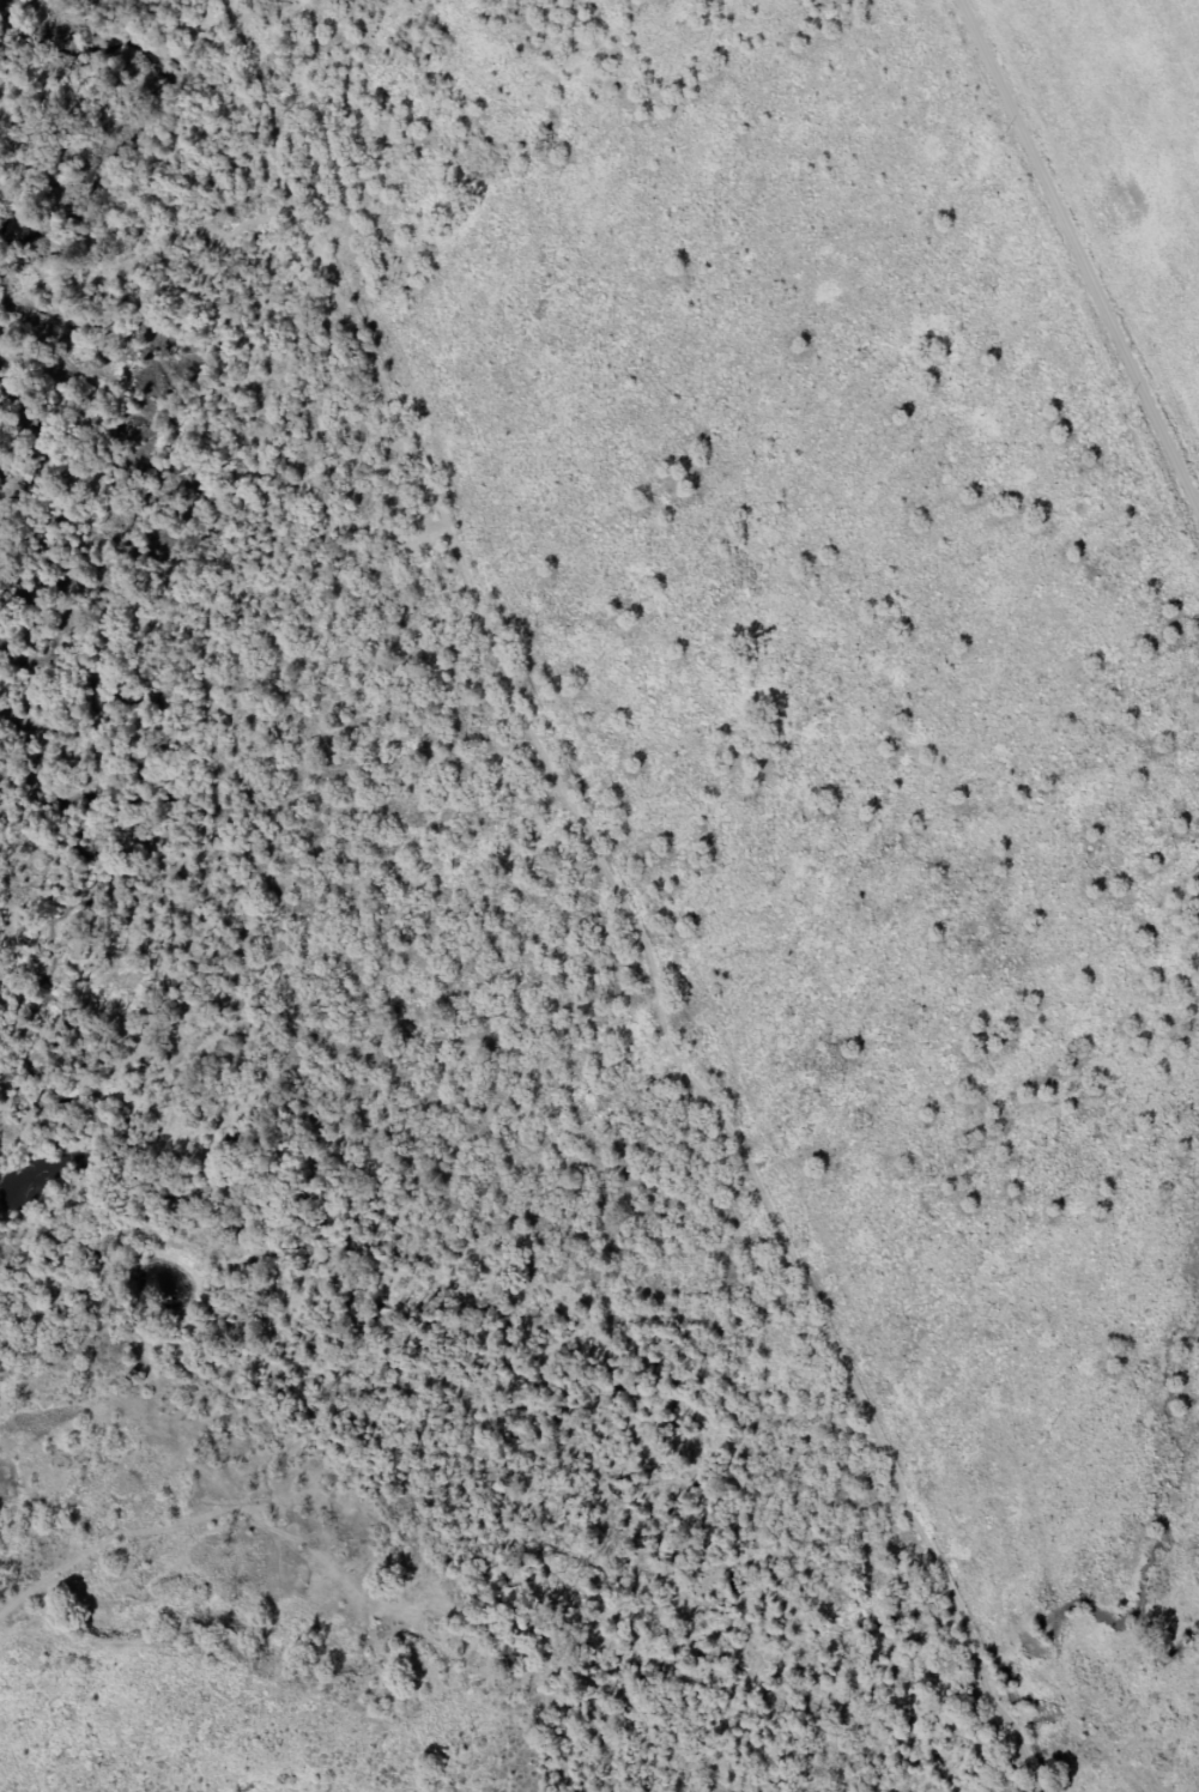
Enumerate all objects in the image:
road: (1082, 249)

